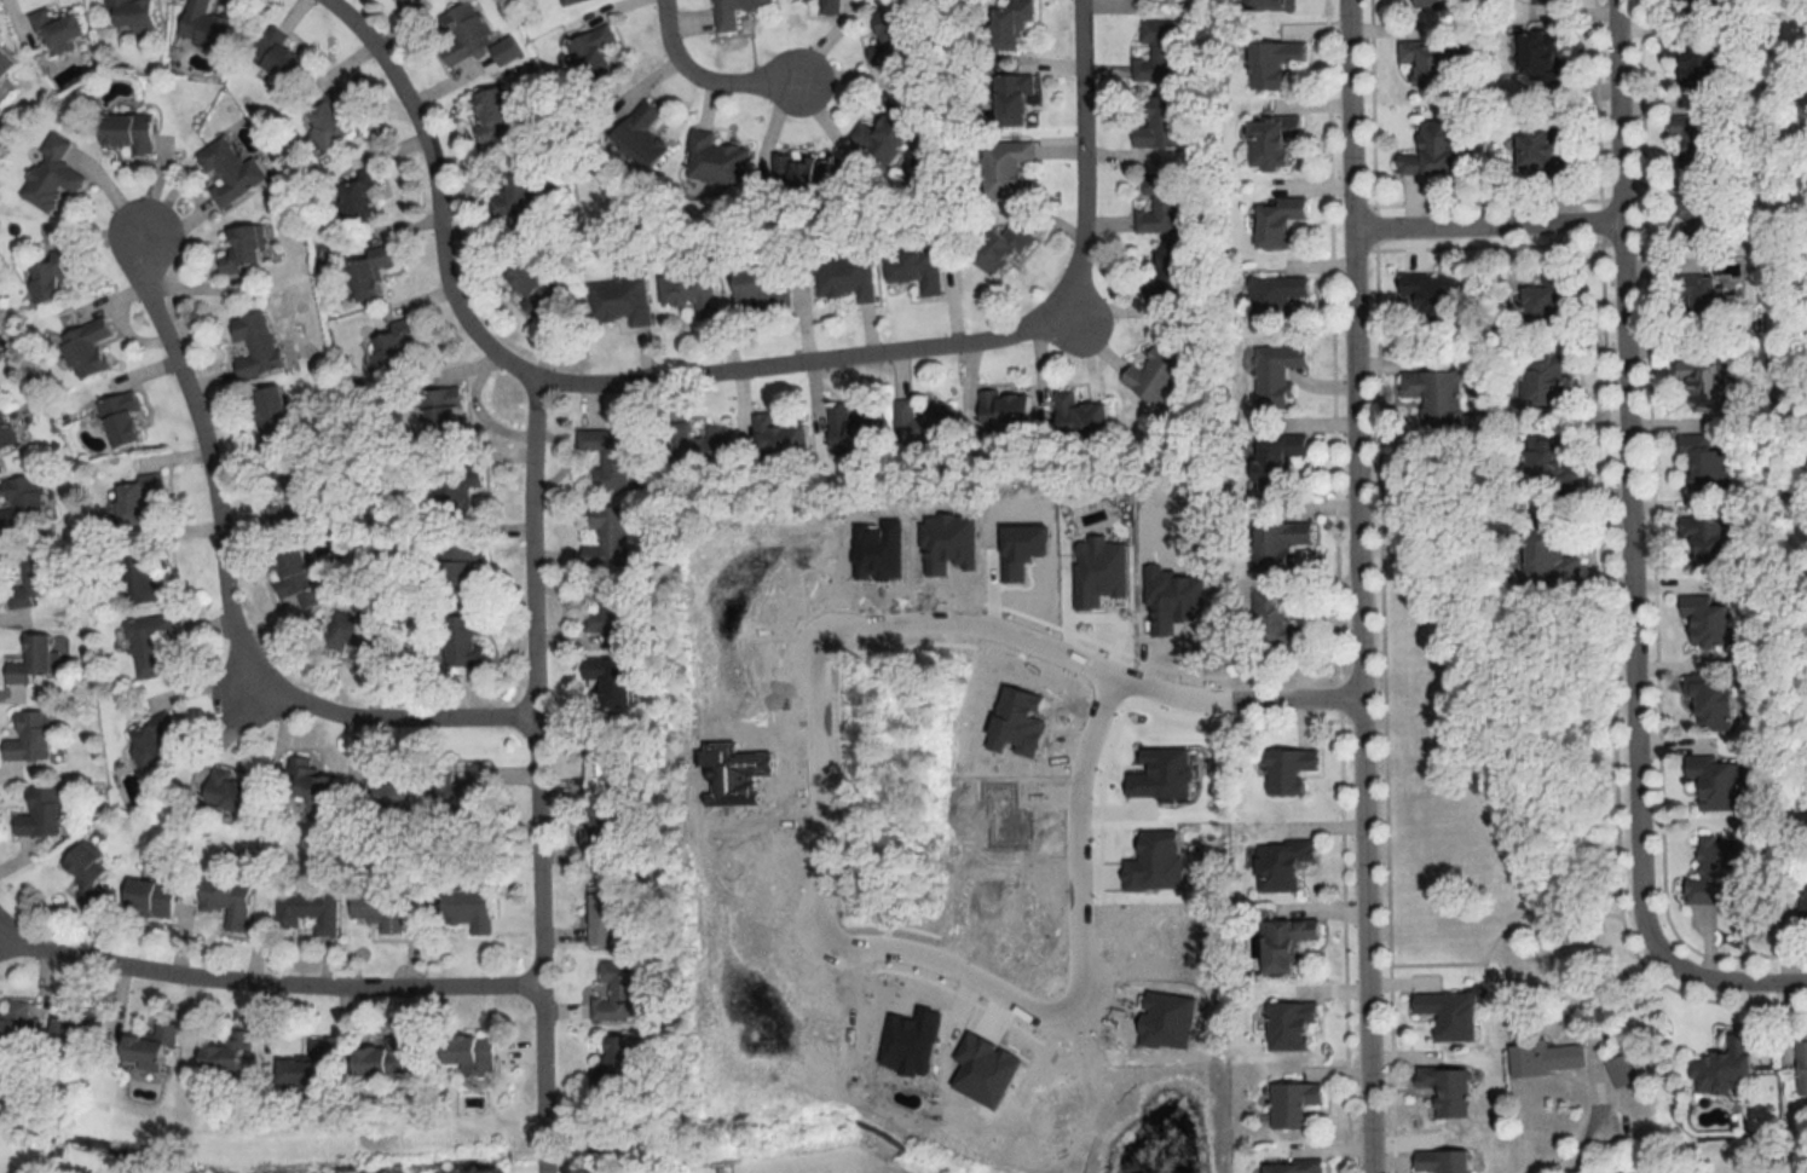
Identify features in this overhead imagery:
building: (400, 1)
building: (565, 1)
building: (1547, 1)
building: (1260, 4)
building: (1430, 4)
building: (827, 6)
building: (1687, 6)
building: (731, 12)
building: (134, 13)
building: (1006, 22)
building: (207, 25)
building: (60, 30)
building: (462, 34)
building: (888, 37)
building: (1156, 52)
building: (590, 53)
building: (275, 56)
building: (1537, 56)
building: (1270, 62)
building: (1424, 65)
building: (1692, 67)
building: (6, 68)
road: (705, 83)
building: (1009, 99)
building: (490, 115)
building: (325, 117)
building: (1157, 123)
building: (132, 132)
building: (637, 135)
building: (881, 135)
building: (1268, 143)
building: (1692, 144)
building: (1428, 150)
building: (1536, 150)
road: (1081, 157)
building: (711, 161)
building: (1003, 169)
building: (227, 172)
building: (798, 175)
building: (52, 177)
road: (435, 191)
building: (509, 192)
building: (354, 197)
building: (1159, 203)
building: (1695, 214)
building: (1275, 223)
road: (1484, 232)
building: (241, 249)
building: (998, 249)
building: (912, 270)
building: (364, 272)
building: (1166, 276)
building: (53, 277)
building: (842, 277)
building: (529, 285)
building: (761, 285)
building: (687, 293)
building: (620, 301)
building: (1271, 301)
building: (1427, 301)
building: (1545, 301)
building: (1701, 301)
building: (254, 343)
building: (388, 347)
building: (88, 348)
road: (797, 359)
building: (1155, 374)
building: (1275, 374)
building: (1545, 382)
building: (1702, 385)
building: (1433, 394)
building: (1003, 410)
building: (267, 411)
building: (439, 415)
building: (1076, 416)
building: (125, 420)
building: (922, 421)
building: (6, 428)
building: (849, 432)
building: (774, 437)
building: (694, 445)
building: (1274, 461)
building: (1704, 462)
building: (1547, 466)
road: (1626, 486)
building: (452, 490)
building: (289, 496)
building: (590, 498)
building: (138, 499)
building: (24, 503)
building: (1276, 543)
building: (1703, 543)
building: (1546, 551)
building: (458, 570)
building: (288, 572)
building: (148, 573)
building: (35, 580)
road: (1358, 586)
road: (226, 590)
building: (606, 608)
building: (1274, 620)
building: (1705, 622)
building: (357, 642)
building: (457, 643)
building: (152, 645)
building: (37, 658)
road: (1087, 666)
building: (585, 668)
building: (612, 683)
building: (1709, 705)
building: (31, 736)
building: (154, 742)
building: (588, 763)
building: (1284, 772)
road: (535, 775)
building: (1715, 782)
building: (311, 784)
road: (818, 785)
building: (462, 787)
building: (233, 792)
building: (391, 792)
building: (44, 813)
building: (597, 834)
road: (1073, 840)
building: (1278, 865)
building: (1714, 872)
building: (92, 873)
building: (1802, 884)
building: (152, 897)
building: (230, 900)
building: (473, 909)
building: (310, 911)
building: (381, 912)
building: (597, 919)
building: (1281, 944)
road: (951, 970)
road: (264, 980)
road: (1733, 988)
building: (614, 990)
building: (1447, 1015)
building: (16, 1025)
building: (1287, 1027)
building: (79, 1030)
building: (155, 1048)
building: (474, 1052)
building: (383, 1058)
building: (614, 1058)
building: (1542, 1058)
building: (230, 1059)
building: (310, 1068)
building: (1721, 1068)
building: (1801, 1069)
building: (1618, 1071)
building: (1442, 1092)
building: (1291, 1105)
road: (1583, 1148)
building: (1439, 1162)
building: (1291, 1168)

